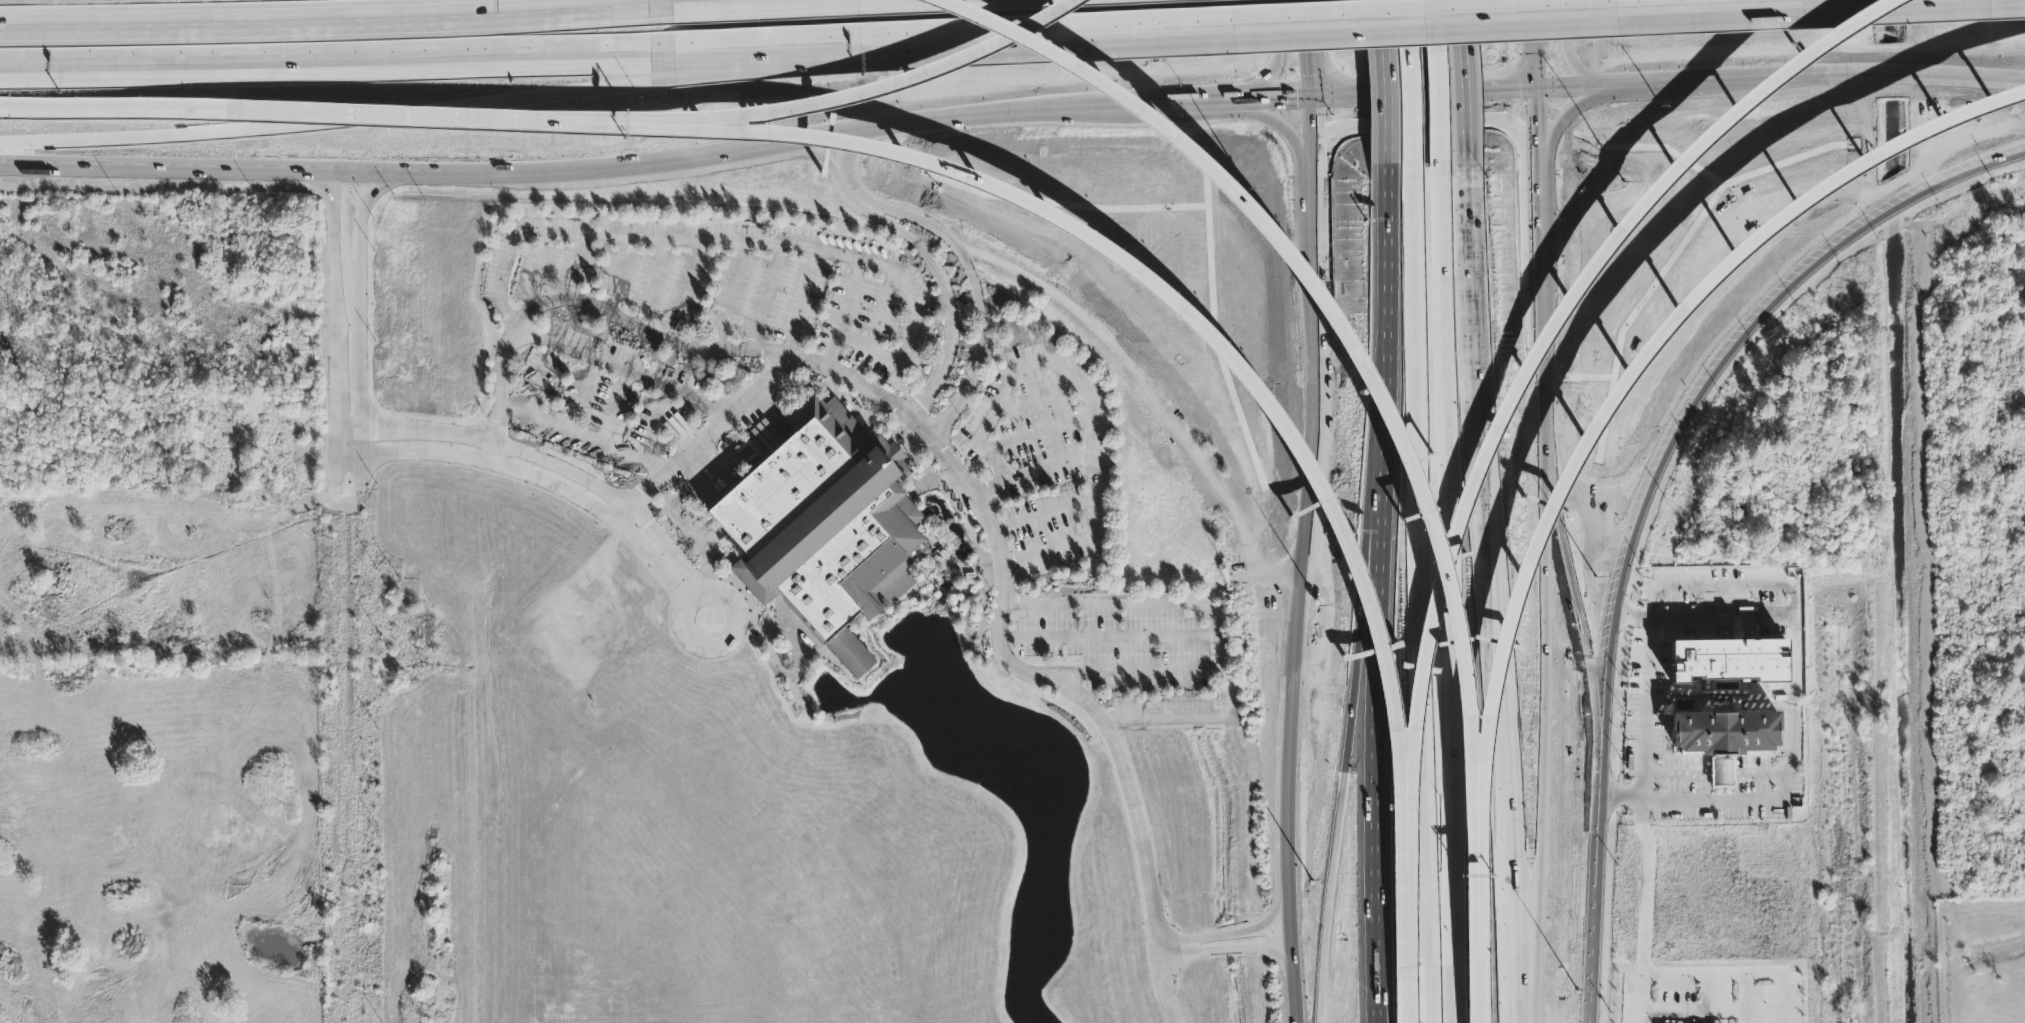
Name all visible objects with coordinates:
road: (752, 4)
road: (1273, 14)
road: (334, 25)
road: (1537, 33)
road: (812, 40)
road: (1313, 49)
road: (329, 55)
road: (1569, 56)
road: (1278, 60)
road: (809, 62)
road: (1538, 79)
road: (1414, 82)
road: (1439, 83)
road: (1669, 86)
road: (1465, 88)
road: (879, 89)
road: (1385, 90)
traffic signals: (1538, 92)
traffic signals: (1314, 99)
road: (1276, 100)
road: (1198, 103)
road: (328, 114)
road: (1566, 120)
road: (1425, 121)
road: (326, 122)
road: (1280, 128)
road: (1538, 129)
road: (1314, 133)
road: (684, 162)
road: (103, 170)
road: (1539, 194)
road: (1314, 212)
road: (701, 243)
road: (1540, 251)
road: (963, 256)
road: (930, 258)
road: (1388, 263)
road: (732, 297)
road: (849, 301)
road: (799, 303)
road: (1175, 307)
road: (360, 309)
road: (332, 315)
parking lot: (683, 324)
road: (638, 329)
road: (1542, 336)
road: (1548, 341)
road: (1372, 359)
road: (1714, 366)
road: (619, 368)
road: (539, 377)
road: (1088, 390)
road: (582, 394)
road: (1619, 401)
road: (614, 407)
road: (655, 423)
road: (348, 429)
road: (583, 435)
road: (1039, 437)
road: (493, 454)
road: (349, 456)
parking lot: (1044, 457)
road: (555, 465)
road: (336, 470)
road: (1048, 472)
road: (360, 473)
road: (1317, 476)
road: (546, 483)
building: (146, 497)
building: (94, 515)
road: (623, 515)
building: (825, 529)
road: (1441, 531)
building: (110, 543)
building: (144, 553)
road: (1000, 562)
road: (1569, 562)
road: (1727, 586)
road: (1419, 593)
road: (1494, 599)
building: (184, 610)
road: (1738, 621)
road: (1216, 624)
road: (685, 633)
parking lot: (1136, 649)
road: (1649, 659)
building: (1728, 662)
road: (1374, 684)
road: (1354, 685)
building: (1724, 733)
road: (1643, 760)
road: (1754, 774)
road: (1621, 795)
road: (1288, 796)
road: (1725, 802)
road: (1597, 875)
road: (1405, 888)
road: (1290, 919)
road: (1644, 922)
road: (1227, 935)
road: (1230, 951)
road: (1477, 958)
road: (1451, 960)
park: (1978, 962)
road: (1733, 975)
road: (1295, 980)
road: (1405, 996)
road: (1745, 997)
road: (1513, 1005)
road: (1694, 1013)
building: (1719, 1022)

